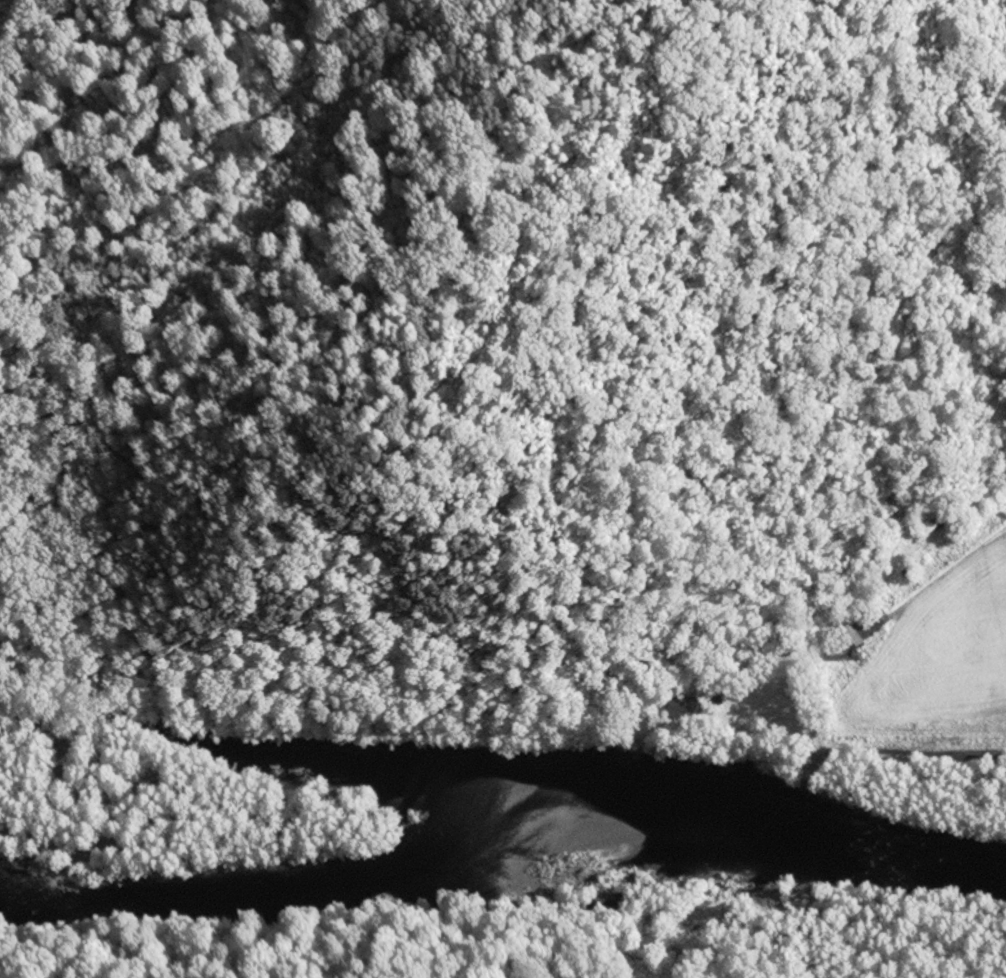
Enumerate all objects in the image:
building: (864, 631)
building: (686, 710)
road: (911, 742)
river: (503, 855)

